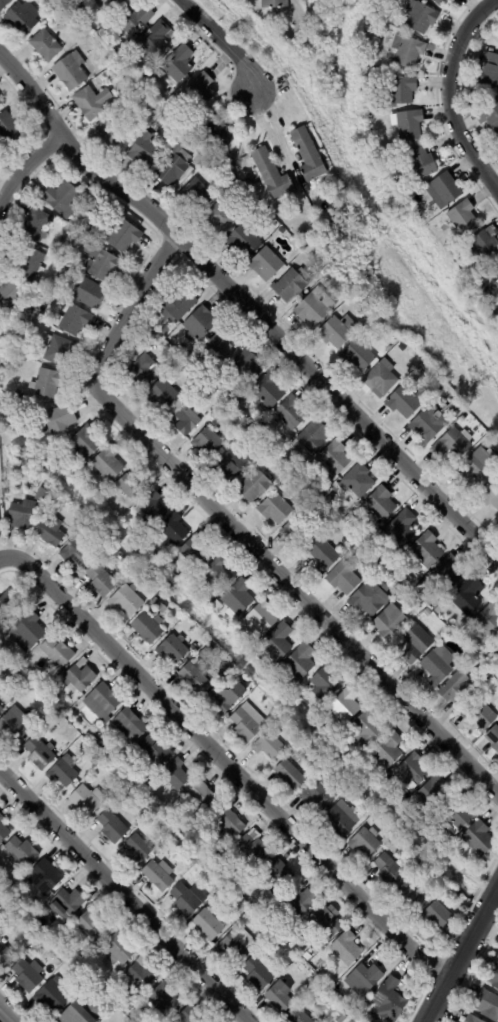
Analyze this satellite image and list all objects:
building: (121, 0)
building: (440, 2)
building: (4, 4)
building: (105, 4)
building: (274, 4)
building: (134, 18)
building: (422, 18)
building: (21, 19)
building: (155, 39)
road: (223, 41)
building: (45, 45)
building: (408, 51)
building: (177, 66)
building: (490, 70)
building: (70, 71)
building: (402, 90)
building: (199, 92)
road: (448, 96)
building: (0, 101)
building: (89, 103)
building: (492, 114)
building: (175, 122)
building: (410, 125)
building: (9, 128)
building: (110, 133)
building: (217, 133)
building: (188, 135)
building: (398, 149)
building: (142, 153)
building: (308, 155)
building: (422, 163)
building: (393, 164)
building: (173, 165)
road: (23, 169)
building: (271, 174)
building: (231, 179)
building: (245, 181)
building: (444, 191)
building: (196, 194)
building: (414, 198)
building: (62, 199)
building: (220, 218)
building: (249, 218)
building: (463, 218)
building: (268, 219)
building: (35, 225)
building: (274, 225)
building: (281, 231)
building: (89, 234)
building: (123, 236)
building: (243, 241)
building: (488, 245)
building: (317, 246)
building: (458, 254)
building: (28, 263)
building: (99, 263)
building: (266, 264)
building: (495, 271)
building: (292, 285)
building: (90, 294)
building: (10, 297)
building: (39, 299)
building: (178, 305)
building: (315, 308)
road: (249, 312)
building: (366, 313)
building: (74, 321)
building: (199, 324)
building: (166, 329)
building: (337, 332)
building: (29, 333)
building: (151, 337)
building: (137, 341)
building: (220, 348)
building: (57, 350)
building: (180, 350)
building: (357, 356)
building: (15, 365)
building: (245, 368)
building: (142, 371)
building: (422, 372)
building: (380, 379)
building: (44, 382)
building: (268, 391)
building: (162, 395)
building: (20, 402)
building: (406, 402)
building: (452, 405)
building: (291, 413)
building: (235, 414)
building: (462, 419)
building: (59, 420)
building: (186, 420)
building: (429, 425)
building: (250, 432)
building: (313, 437)
building: (488, 441)
building: (208, 442)
building: (85, 443)
building: (260, 444)
building: (453, 445)
building: (334, 460)
building: (108, 465)
building: (235, 466)
building: (477, 467)
building: (307, 479)
building: (357, 482)
building: (254, 486)
building: (132, 487)
building: (490, 495)
building: (41, 496)
building: (381, 505)
building: (152, 509)
building: (275, 509)
building: (21, 516)
building: (401, 530)
building: (174, 531)
building: (297, 532)
building: (50, 533)
road: (239, 533)
building: (376, 538)
building: (195, 552)
building: (426, 552)
building: (76, 553)
building: (323, 556)
building: (363, 561)
building: (118, 566)
building: (446, 575)
building: (216, 576)
building: (343, 579)
building: (100, 582)
building: (397, 584)
building: (466, 597)
building: (369, 598)
building: (238, 599)
building: (126, 602)
building: (9, 605)
building: (422, 607)
building: (438, 610)
building: (427, 613)
building: (261, 621)
building: (391, 623)
building: (487, 624)
building: (147, 628)
building: (27, 631)
building: (278, 644)
building: (416, 644)
building: (497, 645)
building: (173, 649)
building: (57, 651)
building: (204, 652)
building: (15, 662)
building: (300, 663)
building: (438, 666)
building: (479, 667)
building: (79, 677)
building: (195, 677)
building: (326, 684)
building: (288, 686)
building: (458, 690)
building: (45, 695)
building: (225, 700)
building: (102, 701)
building: (42, 704)
building: (345, 707)
building: (1, 709)
building: (479, 715)
building: (129, 724)
building: (13, 726)
building: (245, 727)
building: (368, 730)
building: (493, 739)
building: (96, 742)
building: (269, 747)
building: (155, 750)
building: (39, 753)
building: (388, 753)
road: (225, 761)
building: (63, 771)
building: (412, 772)
building: (174, 775)
building: (291, 777)
building: (143, 778)
building: (388, 779)
building: (125, 793)
building: (319, 795)
building: (203, 797)
building: (433, 797)
building: (132, 798)
building: (405, 798)
building: (86, 800)
building: (457, 817)
building: (341, 820)
building: (229, 821)
building: (433, 826)
building: (111, 827)
building: (3, 830)
building: (185, 835)
building: (479, 840)
building: (175, 842)
building: (365, 843)
building: (137, 849)
building: (254, 849)
building: (20, 852)
building: (202, 865)
building: (389, 871)
building: (159, 875)
building: (274, 875)
building: (44, 877)
building: (221, 880)
building: (225, 889)
road: (123, 893)
building: (409, 897)
building: (185, 900)
building: (299, 903)
building: (66, 904)
building: (33, 905)
building: (262, 907)
building: (437, 917)
building: (325, 922)
building: (90, 925)
building: (207, 925)
building: (9, 927)
building: (264, 932)
building: (283, 933)
building: (291, 934)
building: (261, 938)
building: (236, 943)
building: (263, 948)
building: (346, 948)
building: (118, 949)
road: (460, 953)
building: (5, 956)
building: (62, 958)
building: (307, 958)
building: (259, 972)
building: (142, 973)
building: (27, 975)
building: (494, 977)
building: (365, 978)
building: (315, 979)
building: (319, 984)
building: (109, 991)
building: (339, 991)
building: (90, 994)
building: (52, 995)
building: (280, 997)
building: (163, 999)
building: (390, 1000)
building: (487, 1005)
building: (365, 1007)
building: (81, 1013)
building: (190, 1015)
building: (299, 1016)
building: (341, 1018)
road: (2, 1019)
building: (472, 1019)

